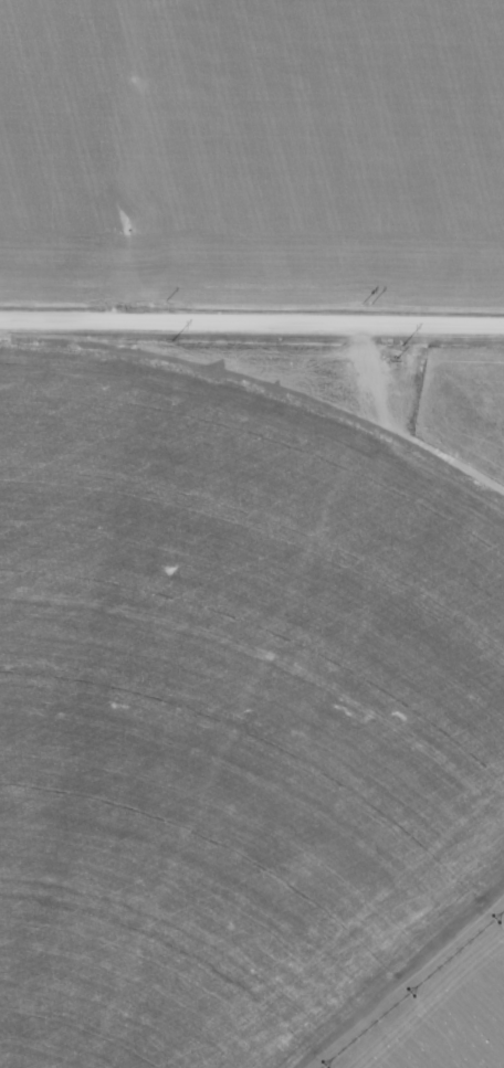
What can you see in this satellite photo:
road: (118, 162)
road: (252, 328)

